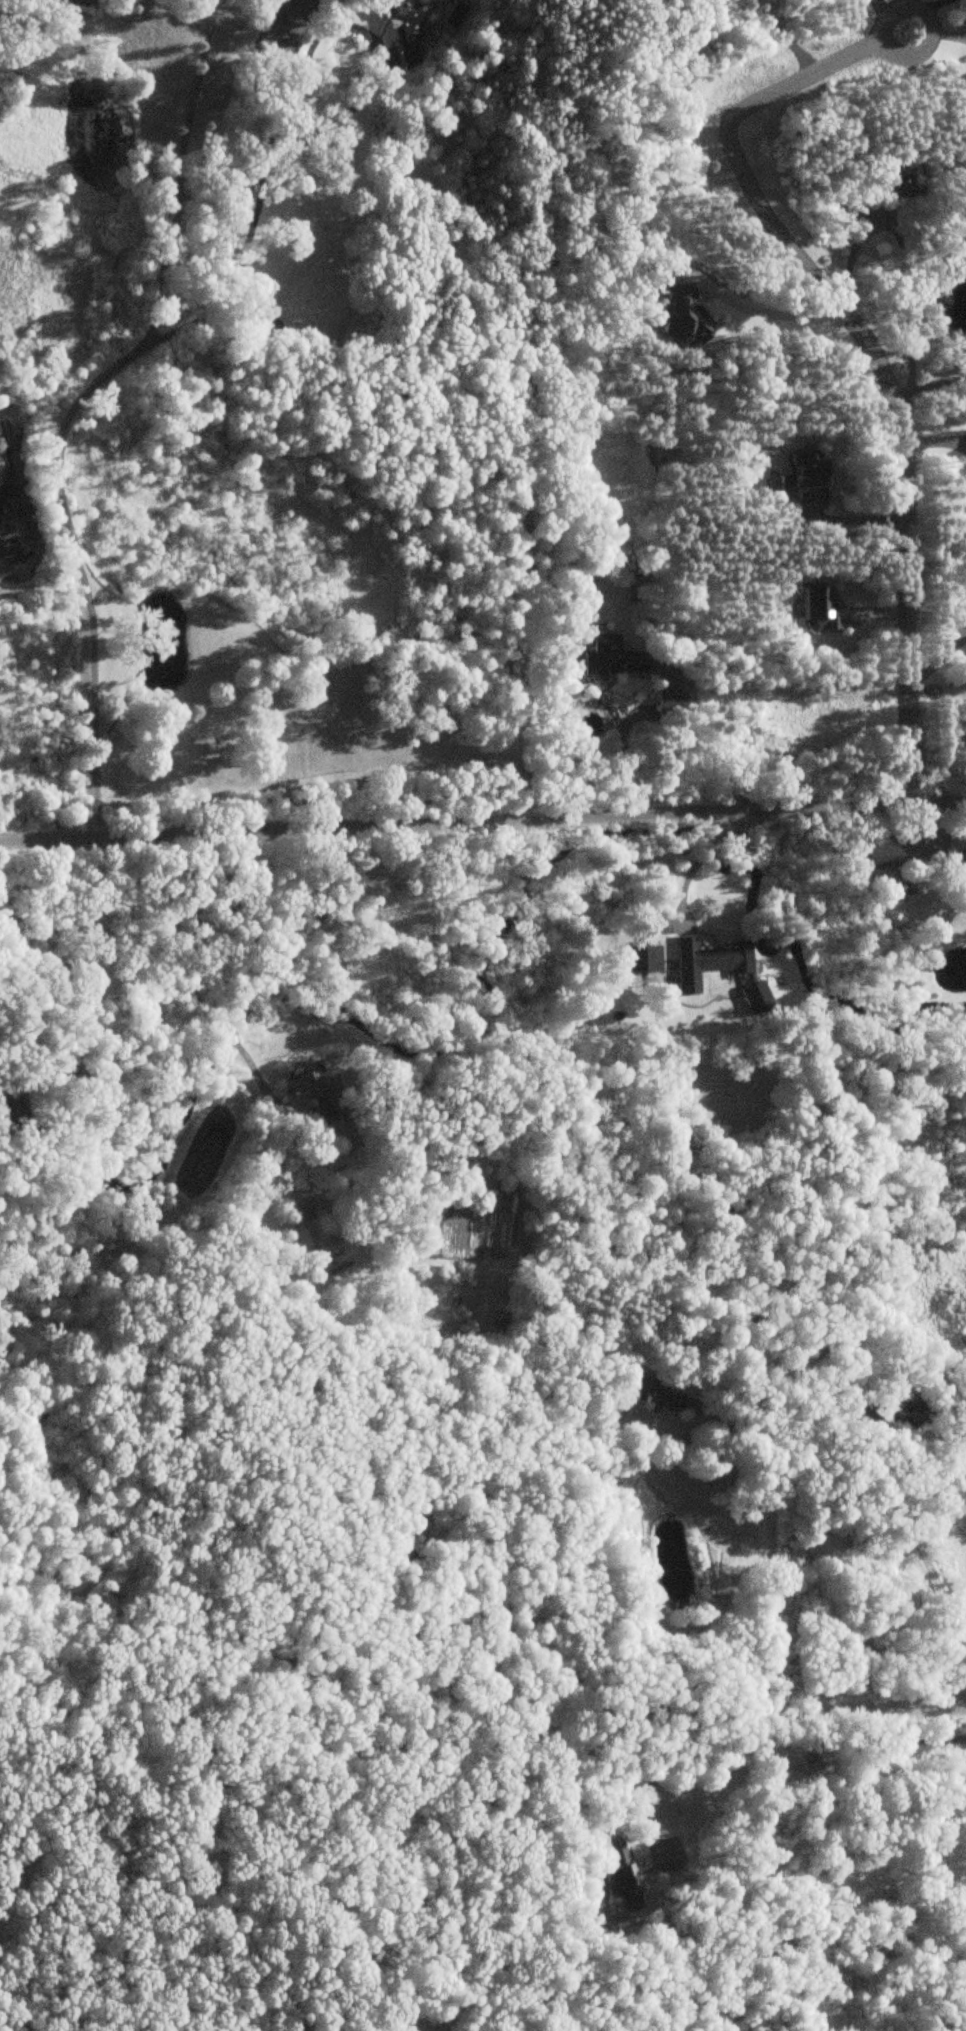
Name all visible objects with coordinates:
building: (413, 26)
road: (896, 46)
road: (442, 91)
road: (247, 200)
building: (854, 211)
road: (852, 257)
road: (750, 308)
road: (862, 350)
road: (920, 378)
road: (77, 408)
building: (804, 475)
building: (611, 659)
road: (691, 742)
road: (634, 745)
road: (483, 822)
road: (703, 855)
building: (880, 855)
building: (960, 872)
building: (641, 959)
building: (707, 962)
road: (184, 980)
building: (309, 1084)
building: (655, 1397)
building: (893, 1416)
road: (771, 1551)
road: (934, 1574)
road: (589, 1709)
road: (784, 1743)
building: (617, 1867)

